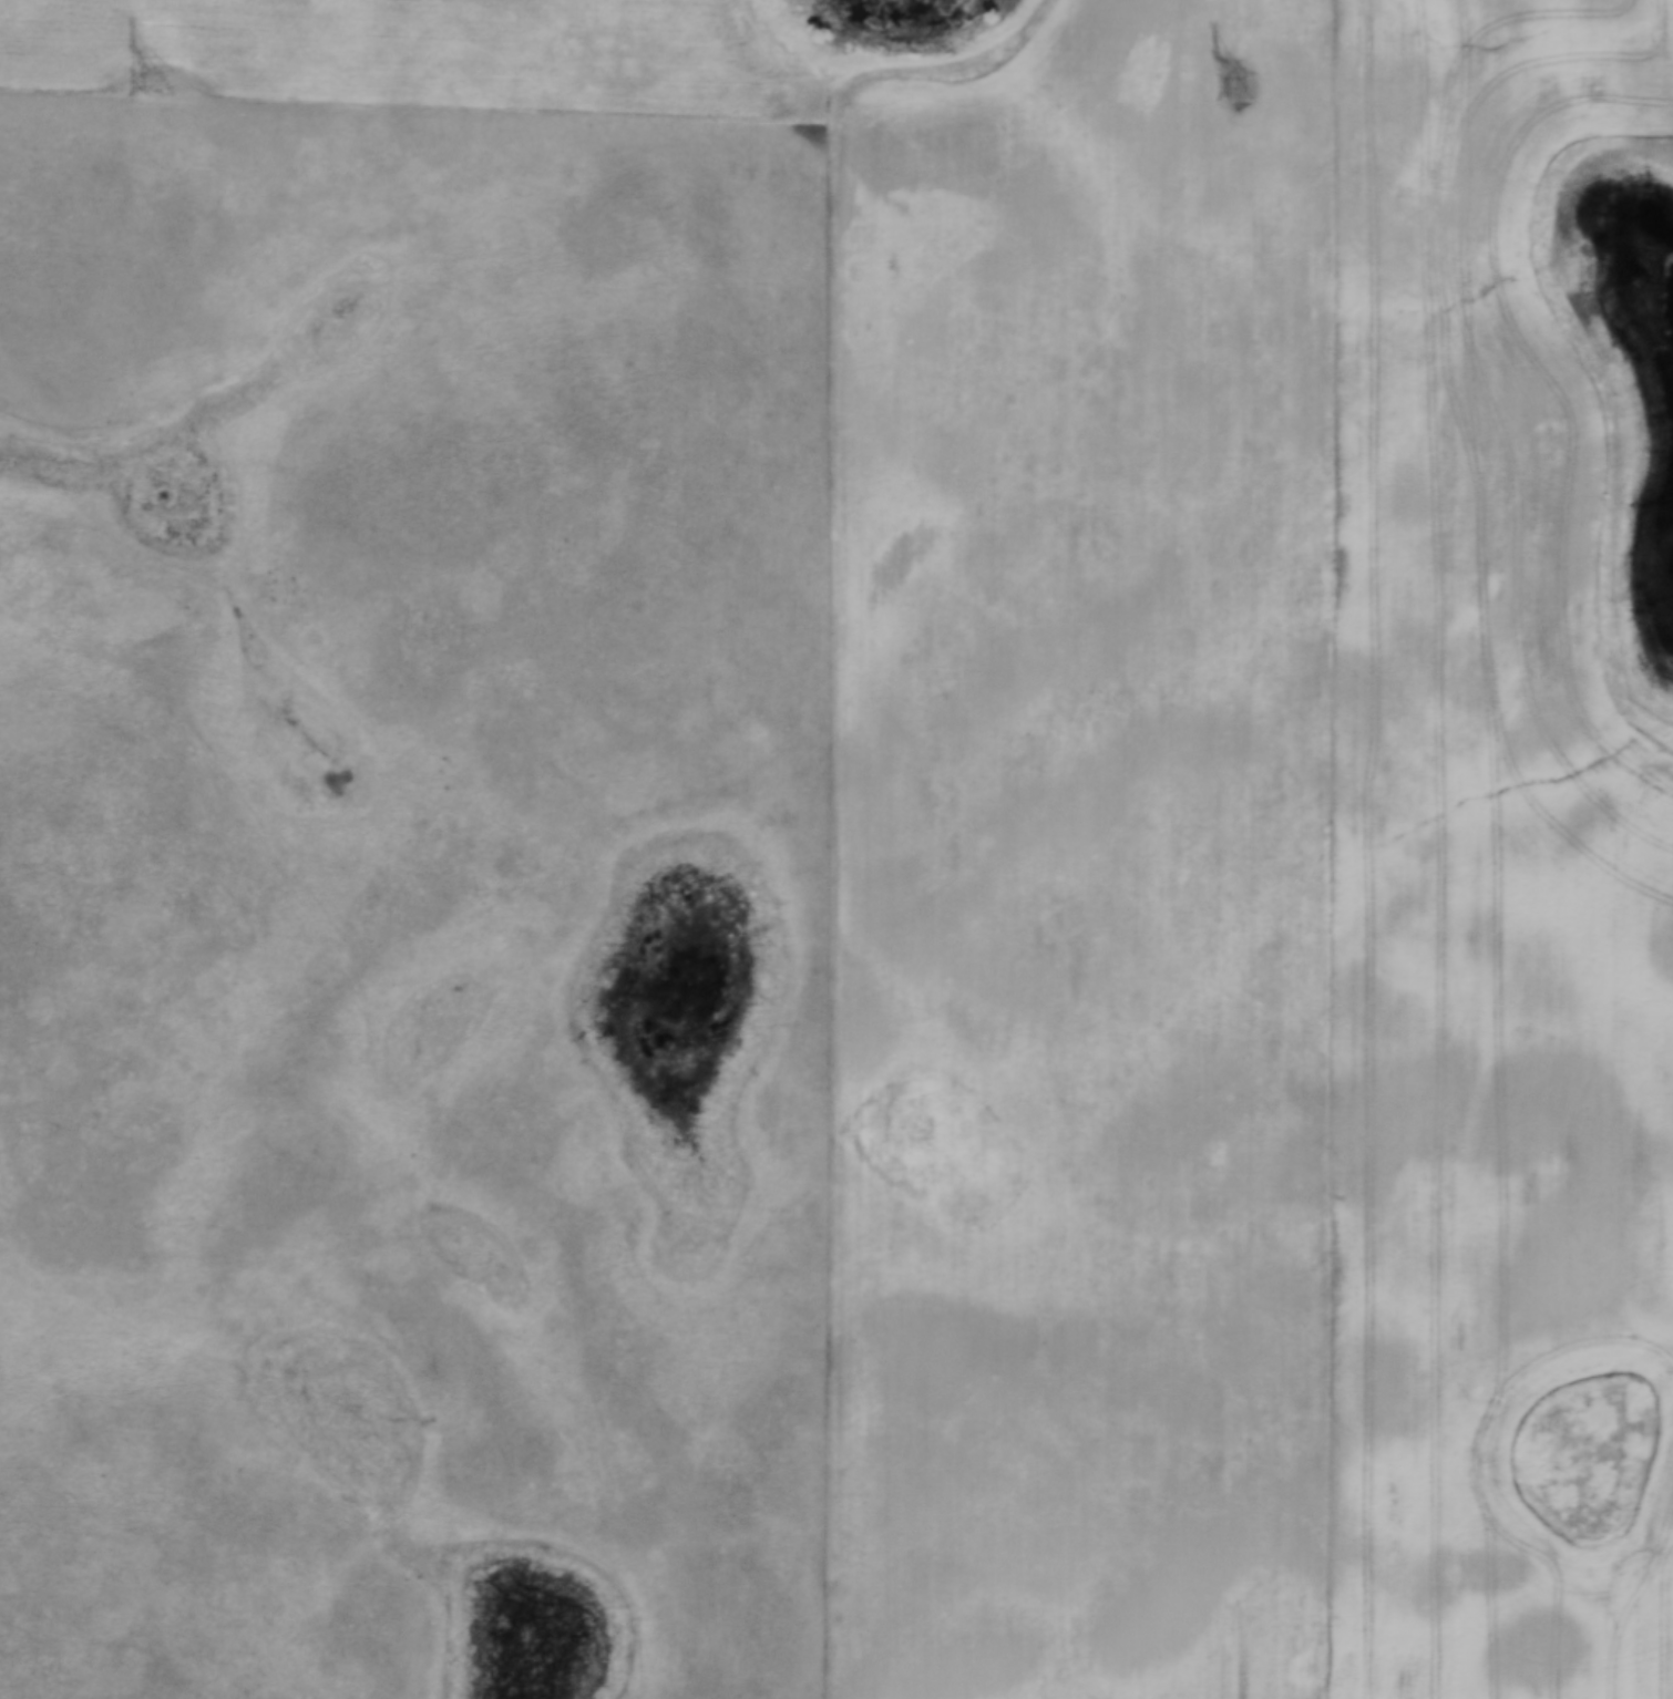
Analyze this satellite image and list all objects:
power tower: (164, 85)
power tower: (1239, 87)

